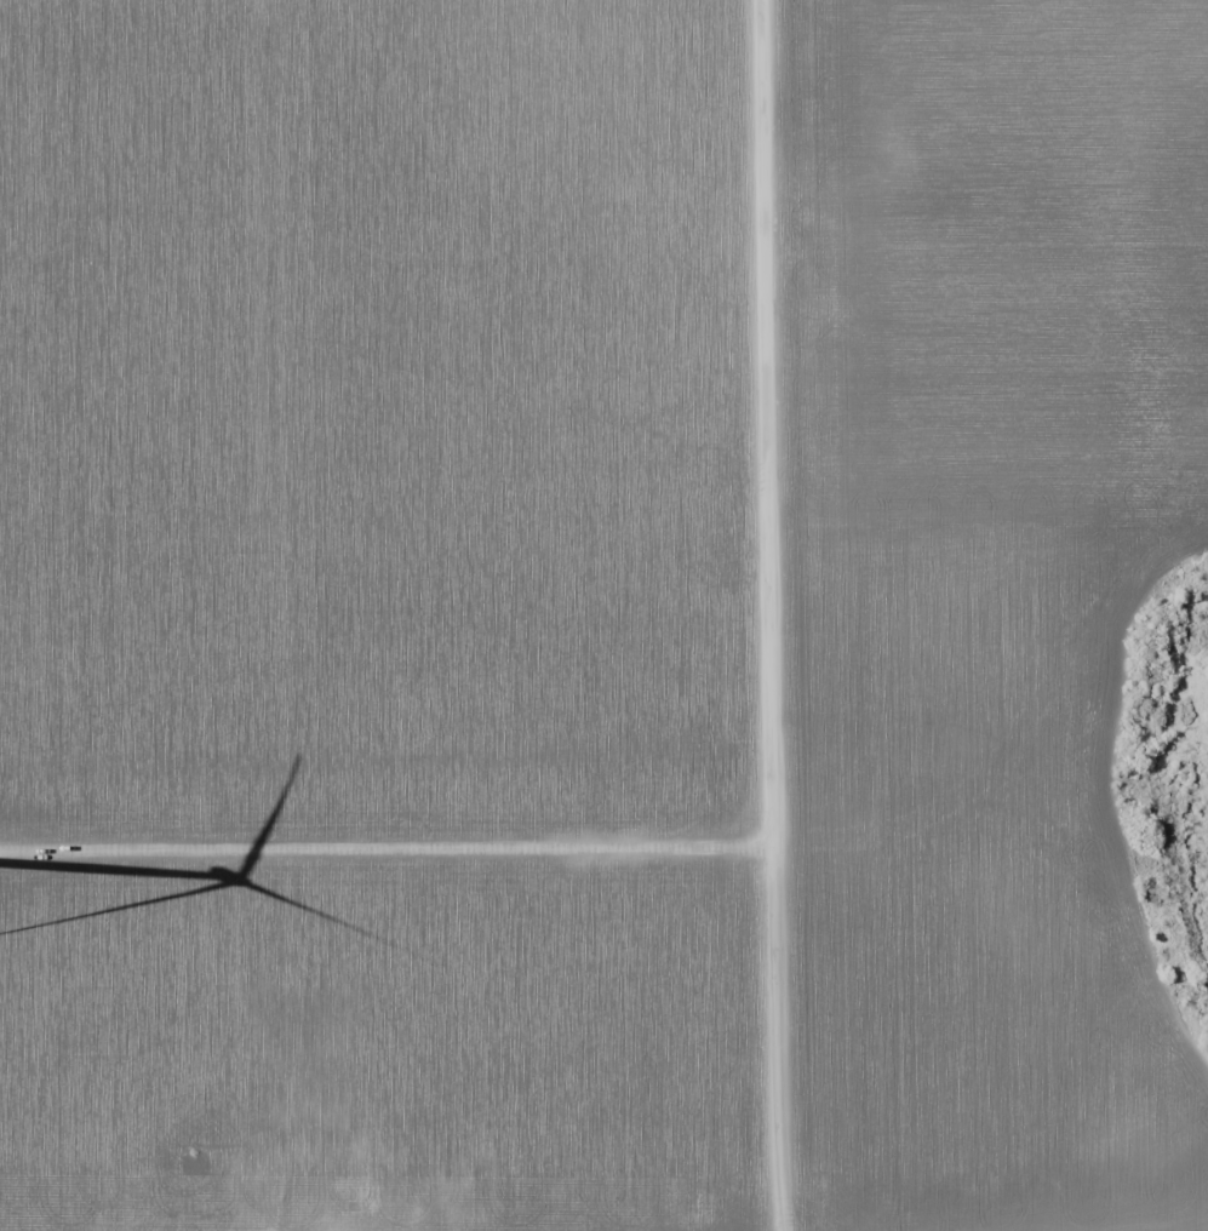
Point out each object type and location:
road: (750, 615)

